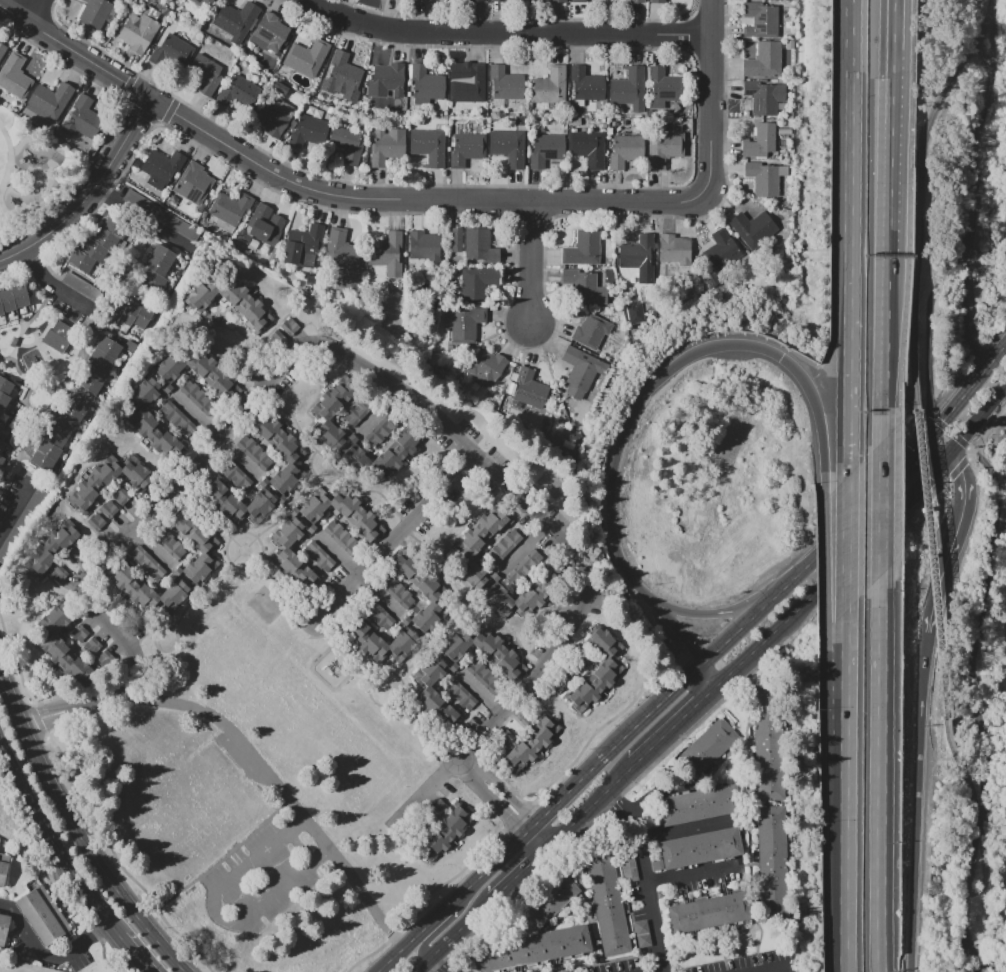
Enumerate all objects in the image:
building: (475, 0)
building: (496, 0)
flagpole: (500, 1)
building: (557, 1)
building: (578, 1)
building: (636, 1)
building: (657, 1)
building: (204, 4)
road: (33, 11)
road: (988, 12)
building: (94, 13)
building: (760, 19)
building: (236, 20)
building: (271, 31)
building: (138, 32)
road: (507, 32)
road: (847, 40)
road: (852, 40)
building: (171, 50)
building: (2, 51)
building: (307, 57)
building: (764, 60)
building: (205, 74)
building: (14, 76)
building: (342, 77)
building: (386, 80)
building: (466, 81)
building: (505, 83)
building: (586, 84)
building: (426, 85)
building: (549, 86)
building: (662, 87)
building: (629, 88)
building: (238, 93)
building: (764, 97)
building: (50, 100)
road: (711, 100)
building: (273, 115)
building: (81, 119)
building: (308, 130)
road: (892, 130)
building: (760, 141)
power tower: (988, 143)
building: (347, 144)
building: (387, 146)
building: (429, 146)
building: (508, 147)
building: (467, 149)
building: (546, 149)
building: (587, 149)
building: (663, 149)
building: (624, 150)
road: (12, 159)
building: (161, 168)
park: (31, 173)
building: (765, 177)
building: (193, 183)
road: (88, 192)
road: (332, 193)
building: (230, 207)
road: (922, 209)
road: (7, 214)
building: (165, 216)
building: (261, 227)
building: (752, 227)
road: (20, 234)
building: (302, 243)
building: (425, 244)
building: (95, 246)
building: (480, 246)
building: (583, 248)
building: (674, 249)
building: (634, 251)
building: (719, 252)
building: (387, 256)
building: (344, 259)
road: (532, 263)
building: (156, 268)
road: (48, 279)
road: (849, 279)
building: (478, 282)
building: (580, 285)
building: (81, 286)
road: (968, 295)
building: (12, 297)
building: (232, 302)
building: (129, 313)
road: (27, 324)
building: (466, 325)
building: (590, 330)
building: (59, 336)
road: (888, 348)
building: (98, 365)
road: (679, 365)
building: (486, 367)
road: (372, 372)
building: (580, 372)
road: (70, 373)
building: (531, 384)
building: (4, 393)
road: (966, 396)
building: (198, 397)
road: (1002, 400)
road: (23, 403)
building: (140, 407)
building: (360, 409)
road: (379, 409)
building: (177, 417)
road: (976, 423)
building: (326, 427)
building: (383, 427)
building: (1, 428)
building: (59, 431)
road: (302, 435)
building: (2, 444)
traffic signals: (926, 444)
building: (399, 449)
road: (936, 449)
building: (254, 452)
building: (278, 453)
traffic signals: (947, 455)
road: (982, 456)
building: (2, 460)
road: (17, 466)
road: (29, 472)
building: (233, 473)
road: (314, 475)
road: (309, 482)
building: (106, 483)
building: (127, 500)
building: (238, 503)
road: (15, 507)
road: (205, 512)
road: (395, 512)
road: (859, 512)
building: (113, 514)
road: (887, 517)
building: (20, 523)
building: (100, 528)
building: (342, 537)
building: (283, 539)
road: (390, 540)
road: (956, 541)
building: (169, 544)
road: (848, 544)
building: (478, 546)
building: (504, 546)
road: (839, 548)
building: (53, 552)
building: (80, 552)
road: (338, 554)
building: (319, 556)
building: (147, 562)
road: (934, 562)
road: (255, 564)
building: (202, 565)
building: (523, 565)
road: (834, 570)
building: (398, 592)
building: (526, 592)
road: (199, 594)
building: (432, 605)
road: (719, 614)
building: (378, 615)
road: (673, 627)
road: (306, 631)
building: (78, 633)
building: (50, 636)
building: (92, 645)
road: (522, 648)
road: (169, 650)
road: (419, 657)
building: (581, 657)
power tower: (986, 657)
building: (598, 671)
building: (567, 673)
building: (427, 674)
building: (483, 675)
road: (712, 675)
road: (322, 679)
road: (401, 680)
building: (556, 684)
building: (461, 695)
road: (46, 709)
building: (449, 713)
building: (525, 717)
road: (52, 721)
road: (678, 726)
road: (427, 731)
building: (506, 737)
building: (770, 743)
building: (532, 744)
building: (707, 750)
road: (959, 761)
road: (466, 768)
road: (7, 775)
road: (584, 776)
road: (883, 784)
road: (846, 791)
road: (287, 792)
road: (508, 794)
park: (257, 796)
road: (618, 801)
road: (920, 802)
road: (644, 803)
building: (700, 804)
road: (497, 805)
building: (437, 806)
road: (591, 807)
road: (78, 831)
road: (664, 833)
building: (445, 834)
road: (538, 838)
road: (53, 840)
building: (700, 847)
building: (773, 863)
building: (657, 865)
building: (3, 867)
building: (628, 868)
road: (520, 872)
road: (649, 883)
road: (964, 888)
road: (147, 894)
building: (549, 899)
building: (607, 902)
building: (711, 912)
road: (217, 914)
building: (43, 915)
road: (448, 922)
building: (3, 927)
building: (641, 927)
road: (454, 935)
building: (644, 940)
building: (533, 948)
road: (136, 952)
road: (46, 957)
road: (973, 964)
road: (436, 965)
road: (995, 966)
road: (783, 971)

